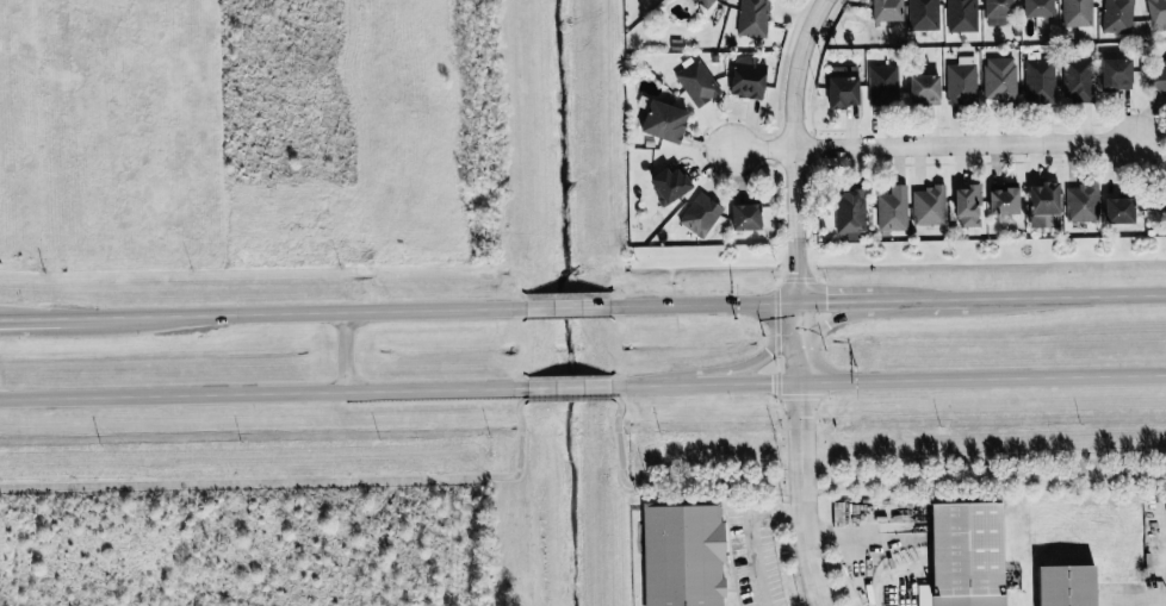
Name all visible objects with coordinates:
building: (703, 2)
building: (1037, 8)
building: (886, 10)
building: (997, 11)
building: (1077, 13)
building: (1156, 13)
building: (923, 14)
building: (960, 15)
building: (1116, 15)
building: (751, 18)
building: (1115, 73)
building: (746, 76)
building: (1159, 77)
building: (999, 79)
building: (1038, 80)
building: (1077, 80)
building: (696, 82)
building: (960, 83)
building: (881, 85)
building: (842, 86)
building: (924, 90)
building: (663, 121)
road: (941, 142)
road: (794, 146)
building: (669, 185)
building: (1161, 201)
building: (1081, 202)
building: (1003, 204)
building: (928, 205)
building: (1043, 205)
building: (967, 206)
building: (892, 208)
building: (1118, 210)
building: (849, 213)
building: (700, 214)
building: (745, 217)
traffic signals: (798, 271)
road: (1066, 295)
road: (931, 298)
road: (839, 299)
road: (888, 299)
traffic signals: (827, 300)
road: (703, 304)
road: (565, 306)
road: (328, 311)
road: (98, 316)
road: (31, 317)
road: (832, 319)
road: (31, 323)
traffic signals: (826, 323)
road: (346, 351)
traffic signals: (767, 352)
road: (758, 356)
road: (981, 379)
road: (755, 383)
traffic signals: (771, 383)
road: (695, 385)
road: (644, 386)
road: (569, 387)
road: (263, 394)
road: (568, 399)
road: (618, 413)
road: (516, 414)
traffic signals: (799, 418)
road: (619, 450)
road: (517, 451)
road: (800, 454)
road: (261, 482)
road: (887, 482)
road: (749, 536)
building: (682, 555)
building: (965, 555)
building: (1065, 585)
building: (1104, 595)
road: (1146, 601)

